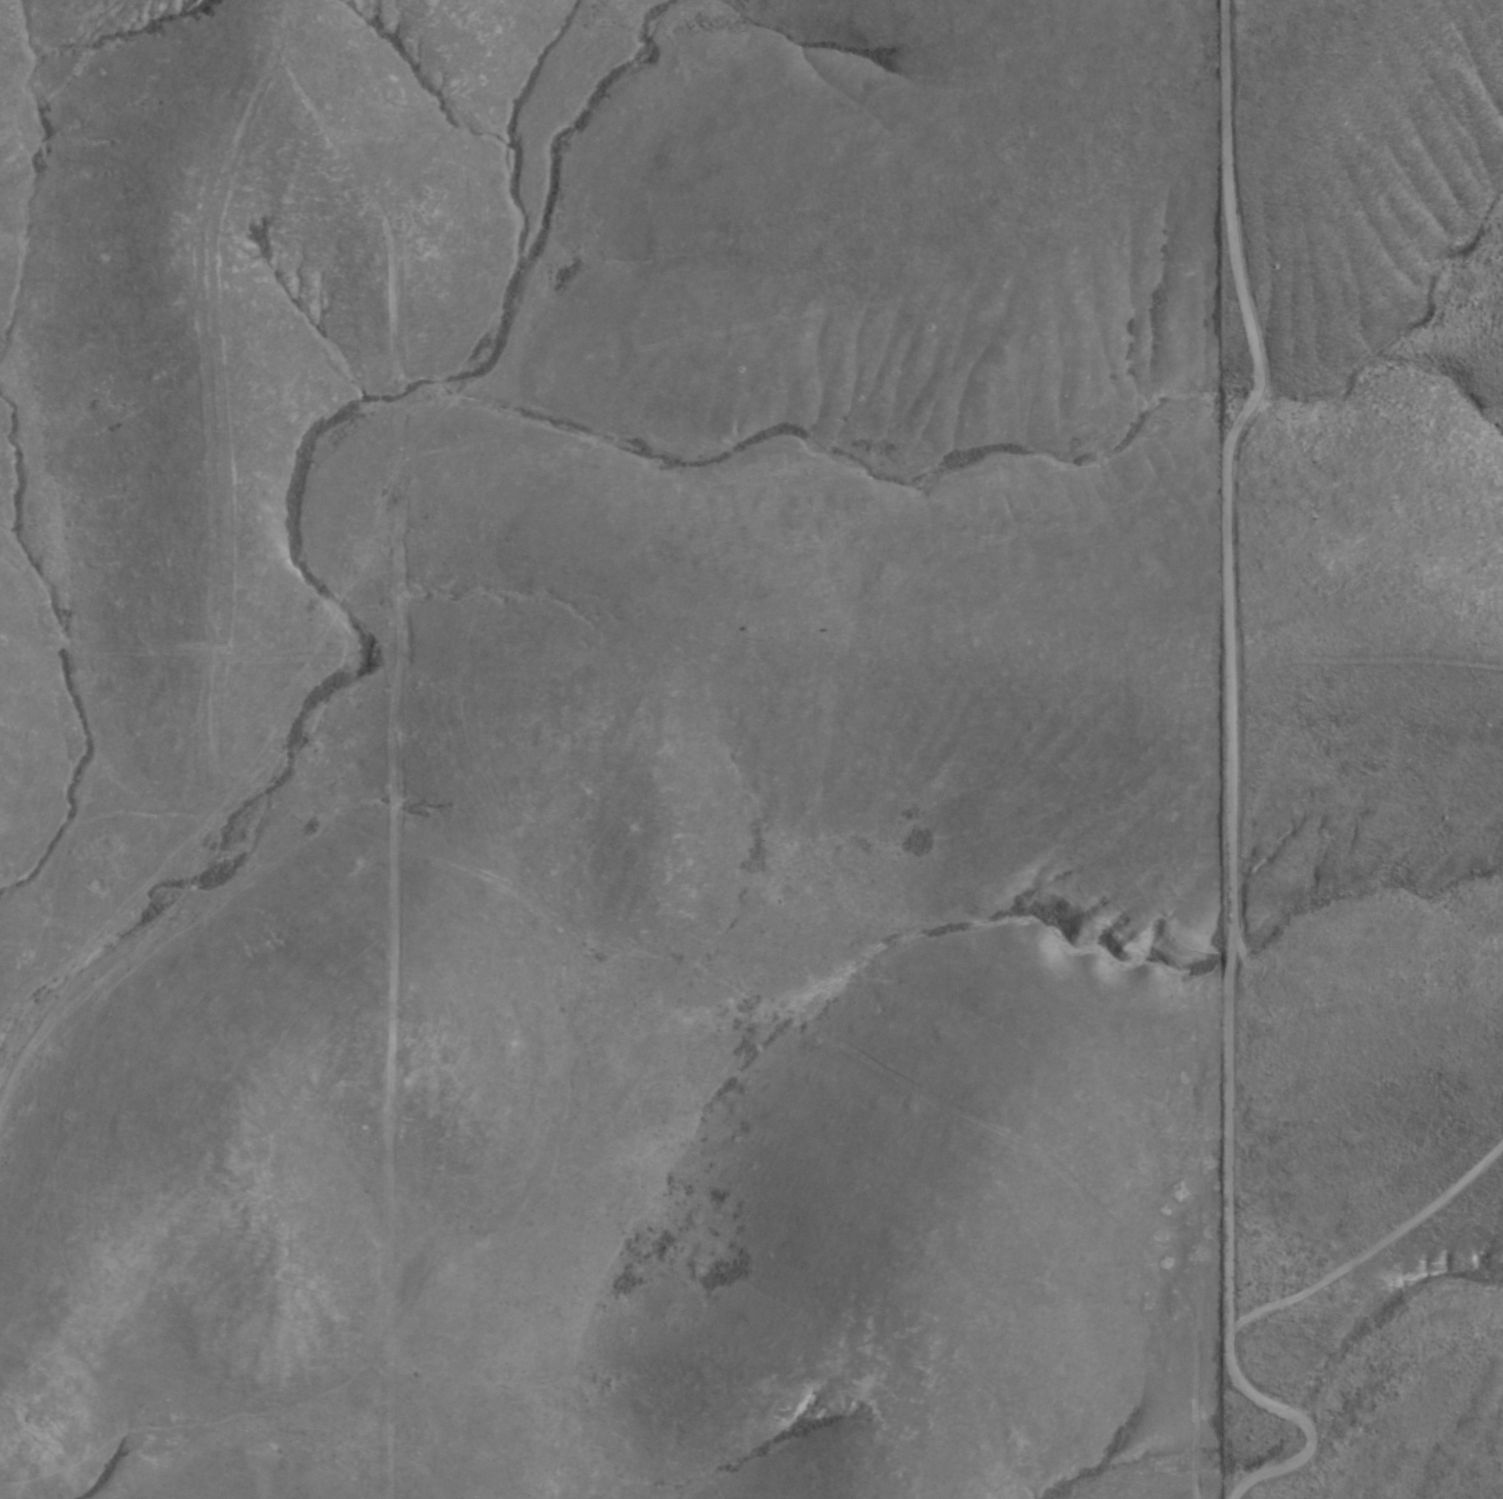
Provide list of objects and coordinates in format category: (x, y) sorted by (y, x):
road: (1231, 745)

